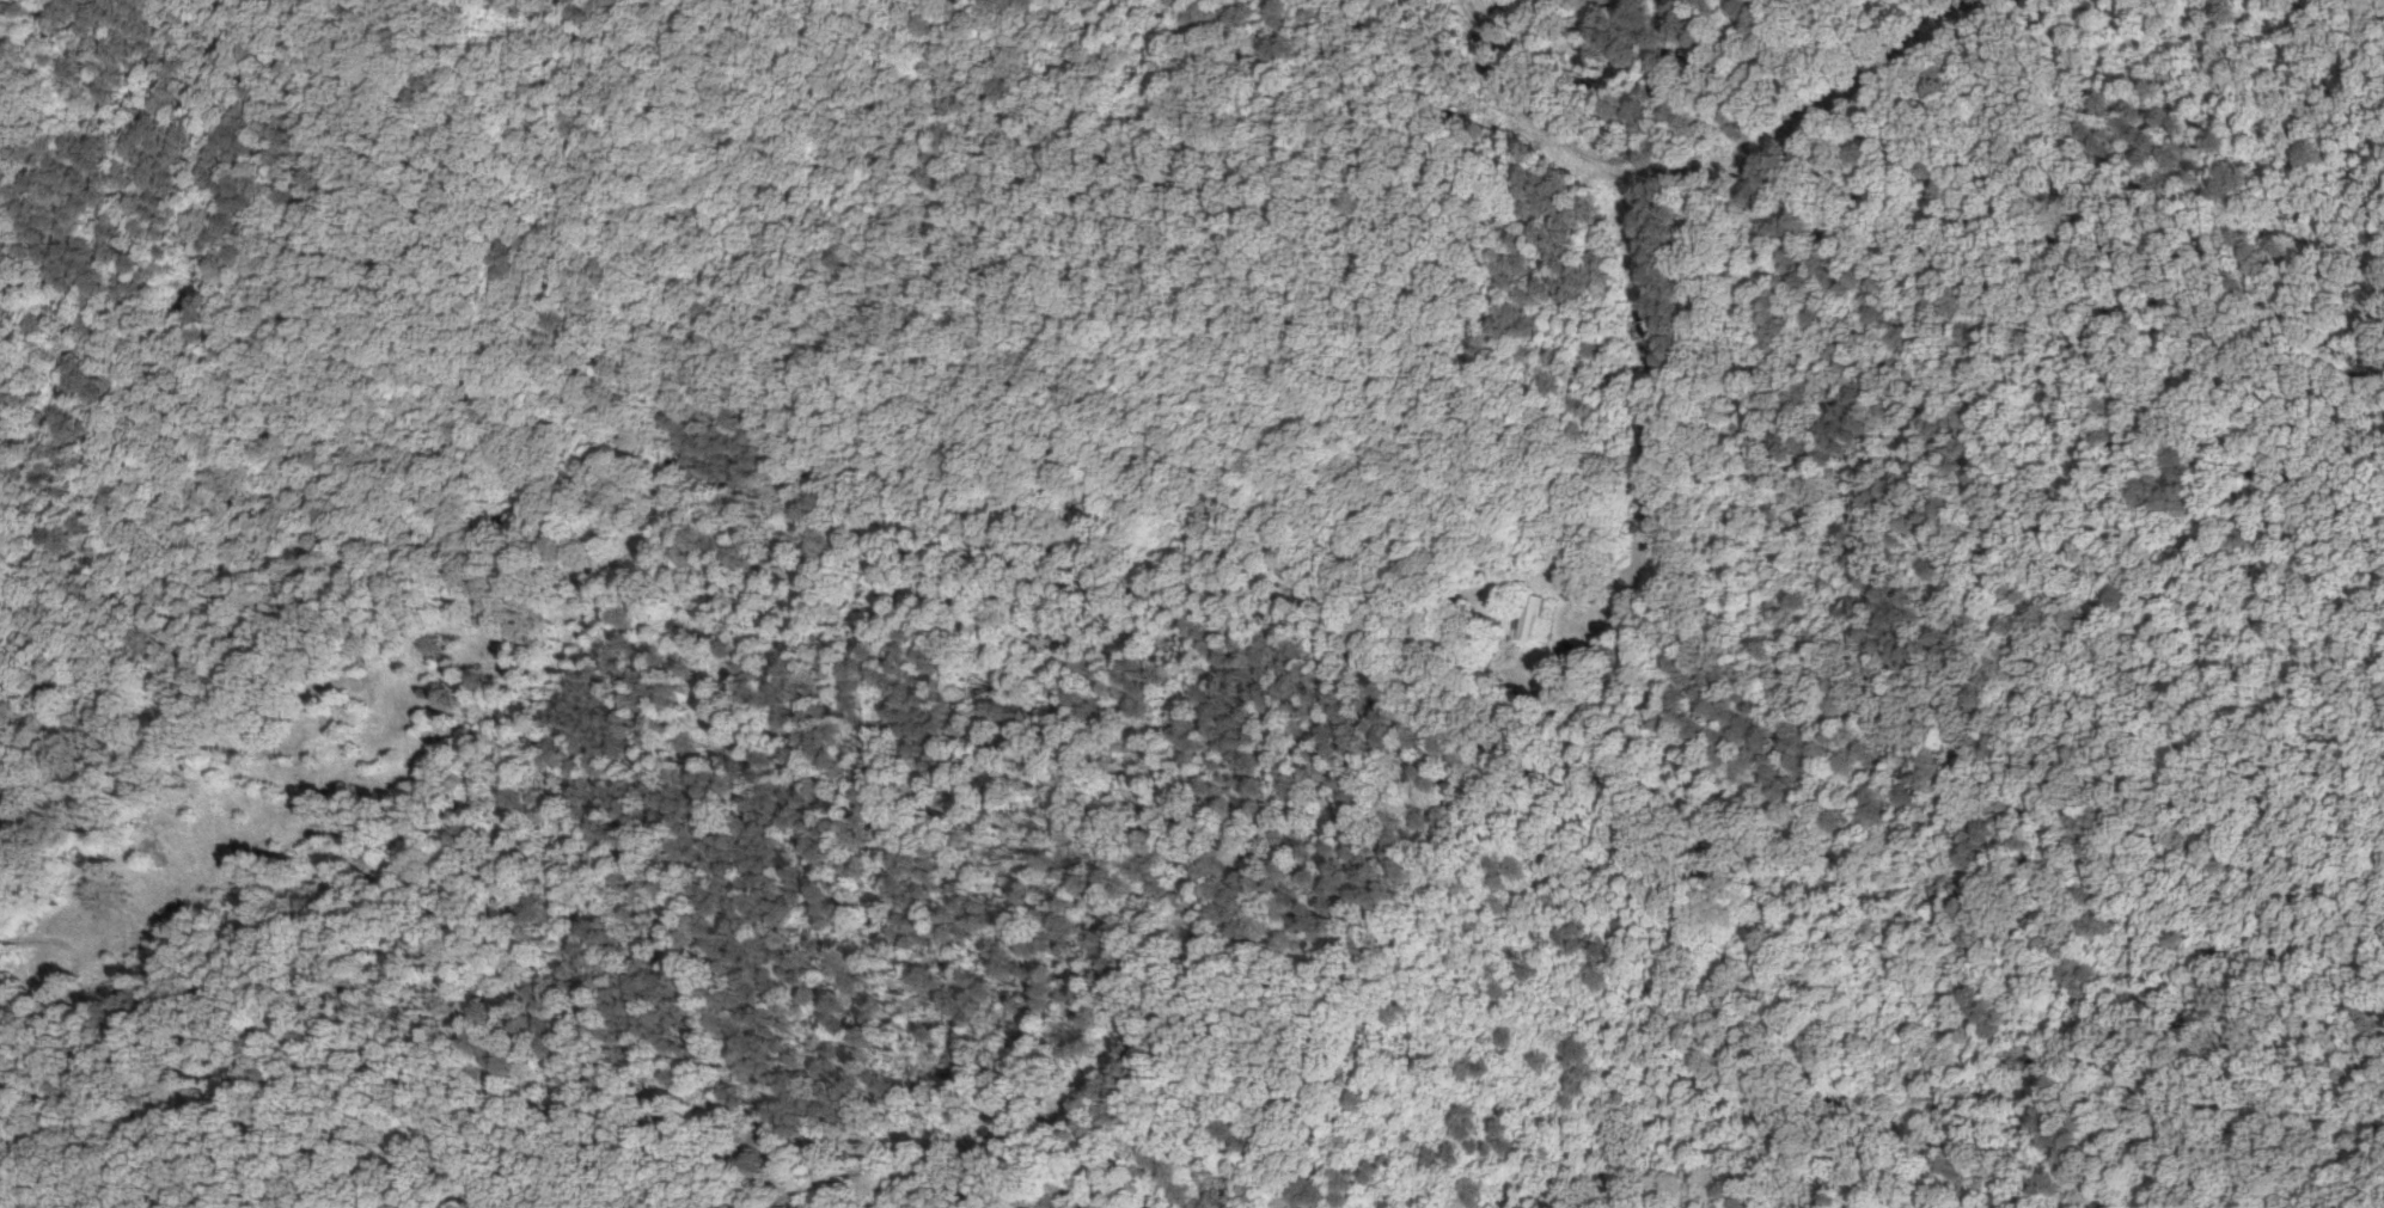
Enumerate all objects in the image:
road: (1524, 112)
road: (1655, 318)
building: (1530, 619)

